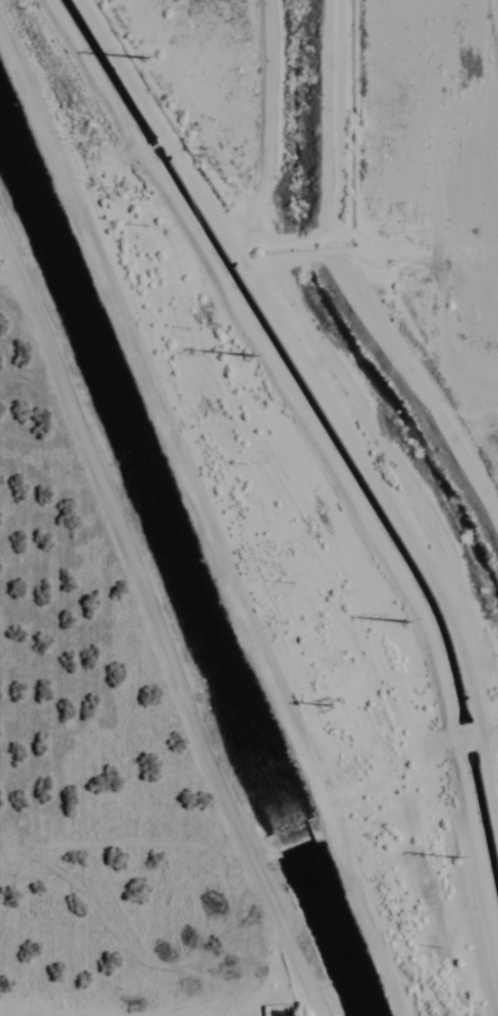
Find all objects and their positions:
solar farm: (495, 15)
power tower: (144, 54)
power tower: (251, 353)
road: (206, 522)
power tower: (406, 618)
power tower: (457, 853)
building: (276, 1013)

